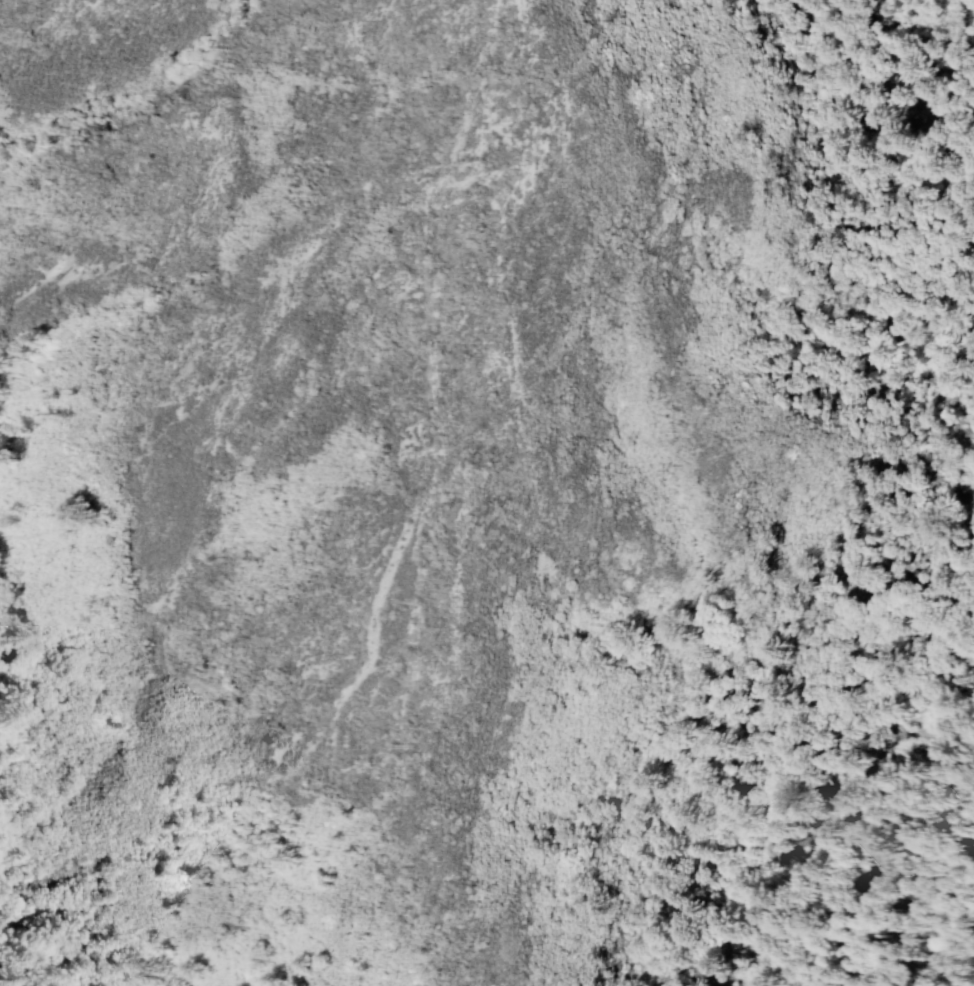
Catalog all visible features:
road: (444, 417)

